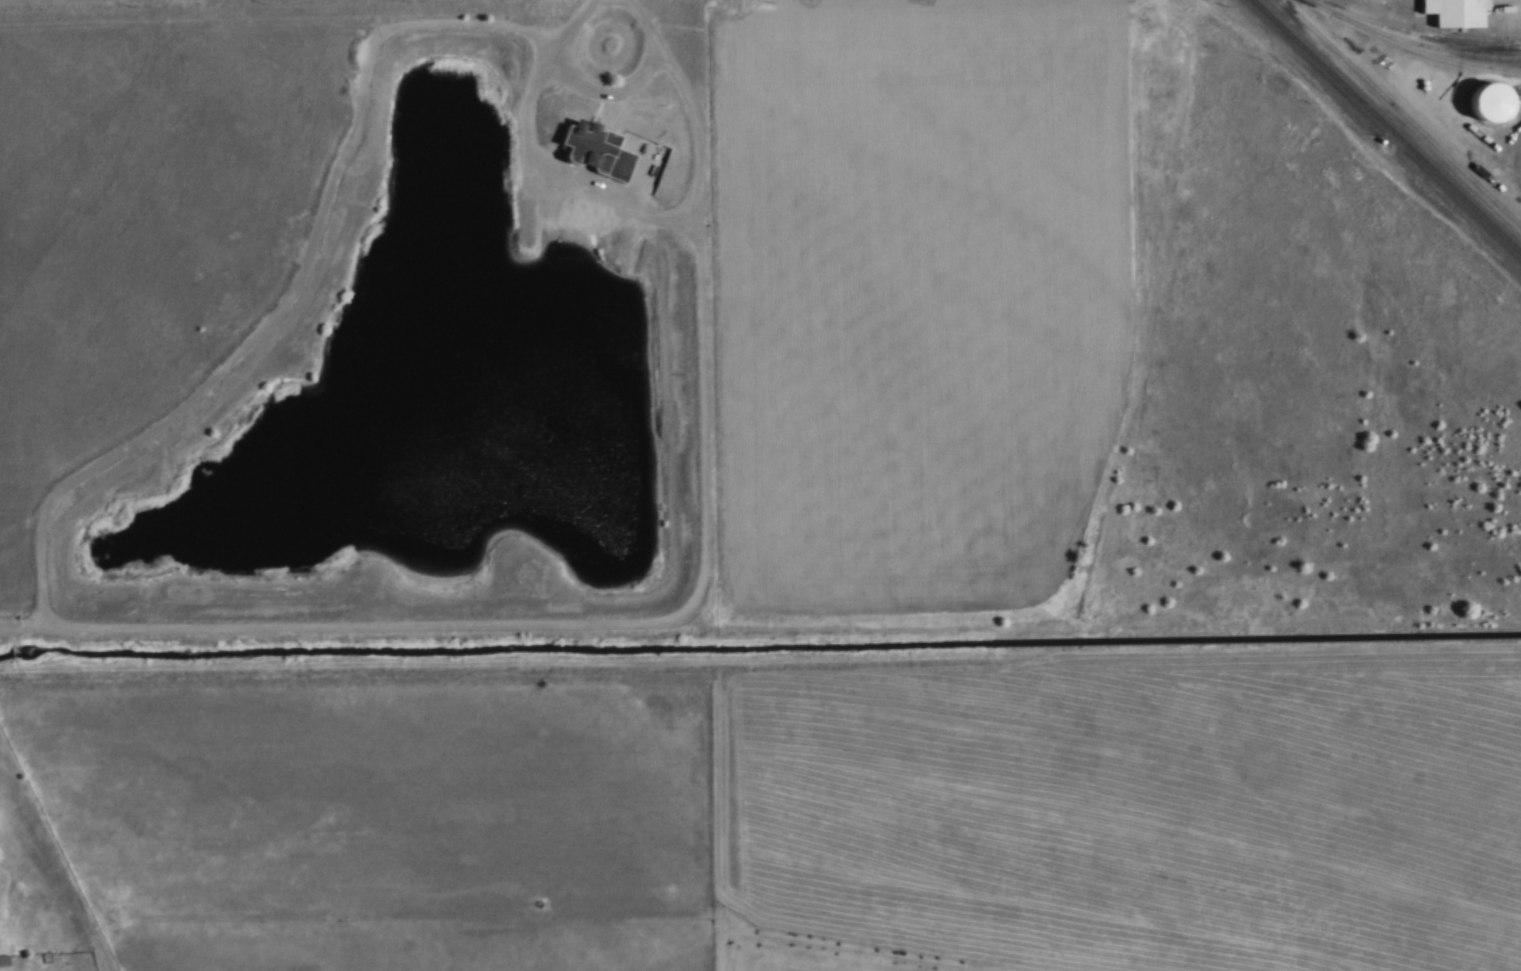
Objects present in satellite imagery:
building: (1455, 12)
railway: (1416, 28)
railway: (1441, 46)
railway: (1411, 48)
railway: (1400, 111)
railway: (1388, 125)
building: (616, 159)
building: (656, 159)
park: (821, 954)
building: (4, 959)

